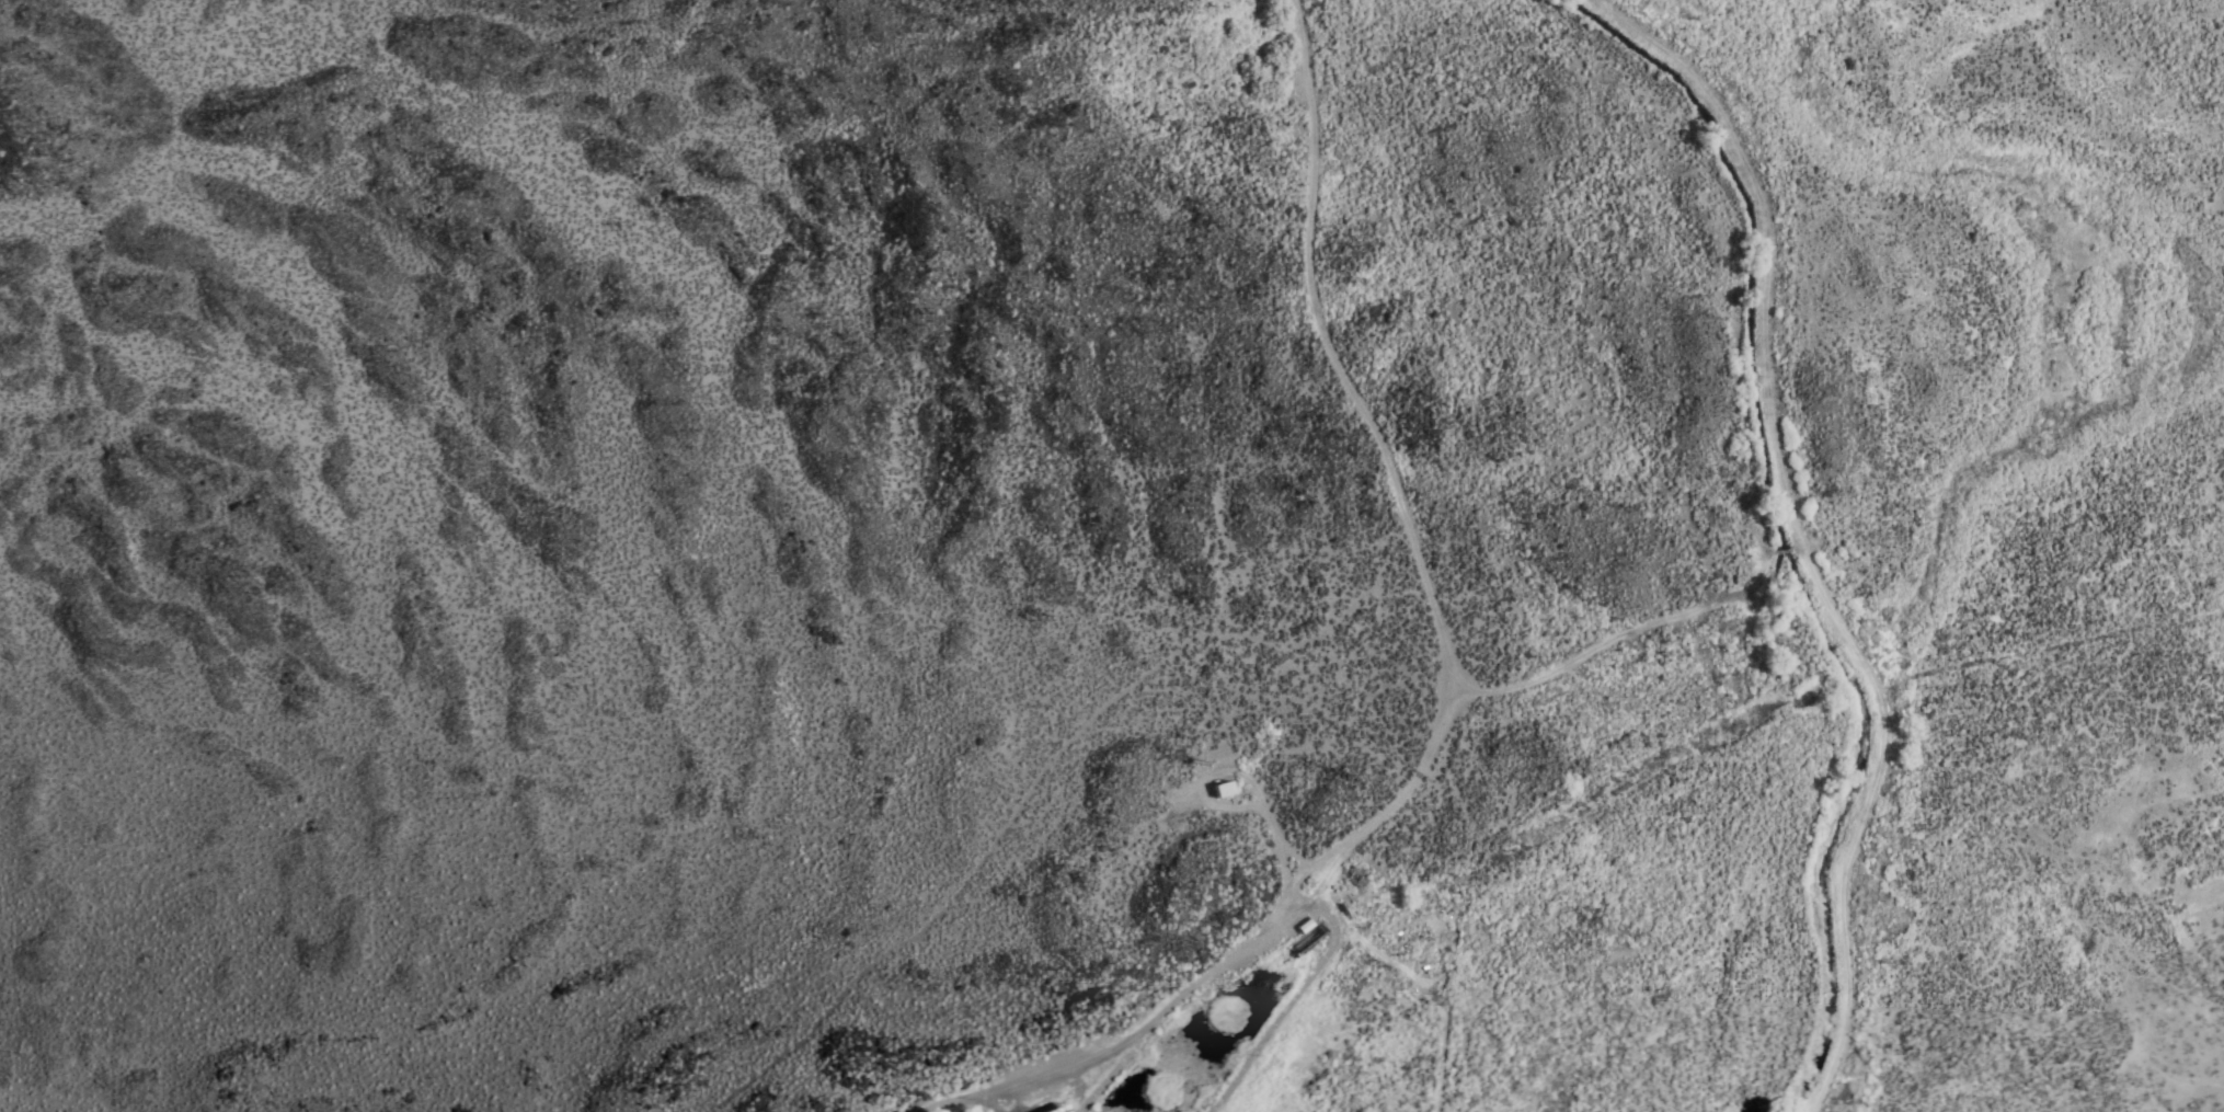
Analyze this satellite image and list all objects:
road: (1443, 674)
building: (1223, 789)
building: (1304, 926)
aquafarm: (1239, 1033)

